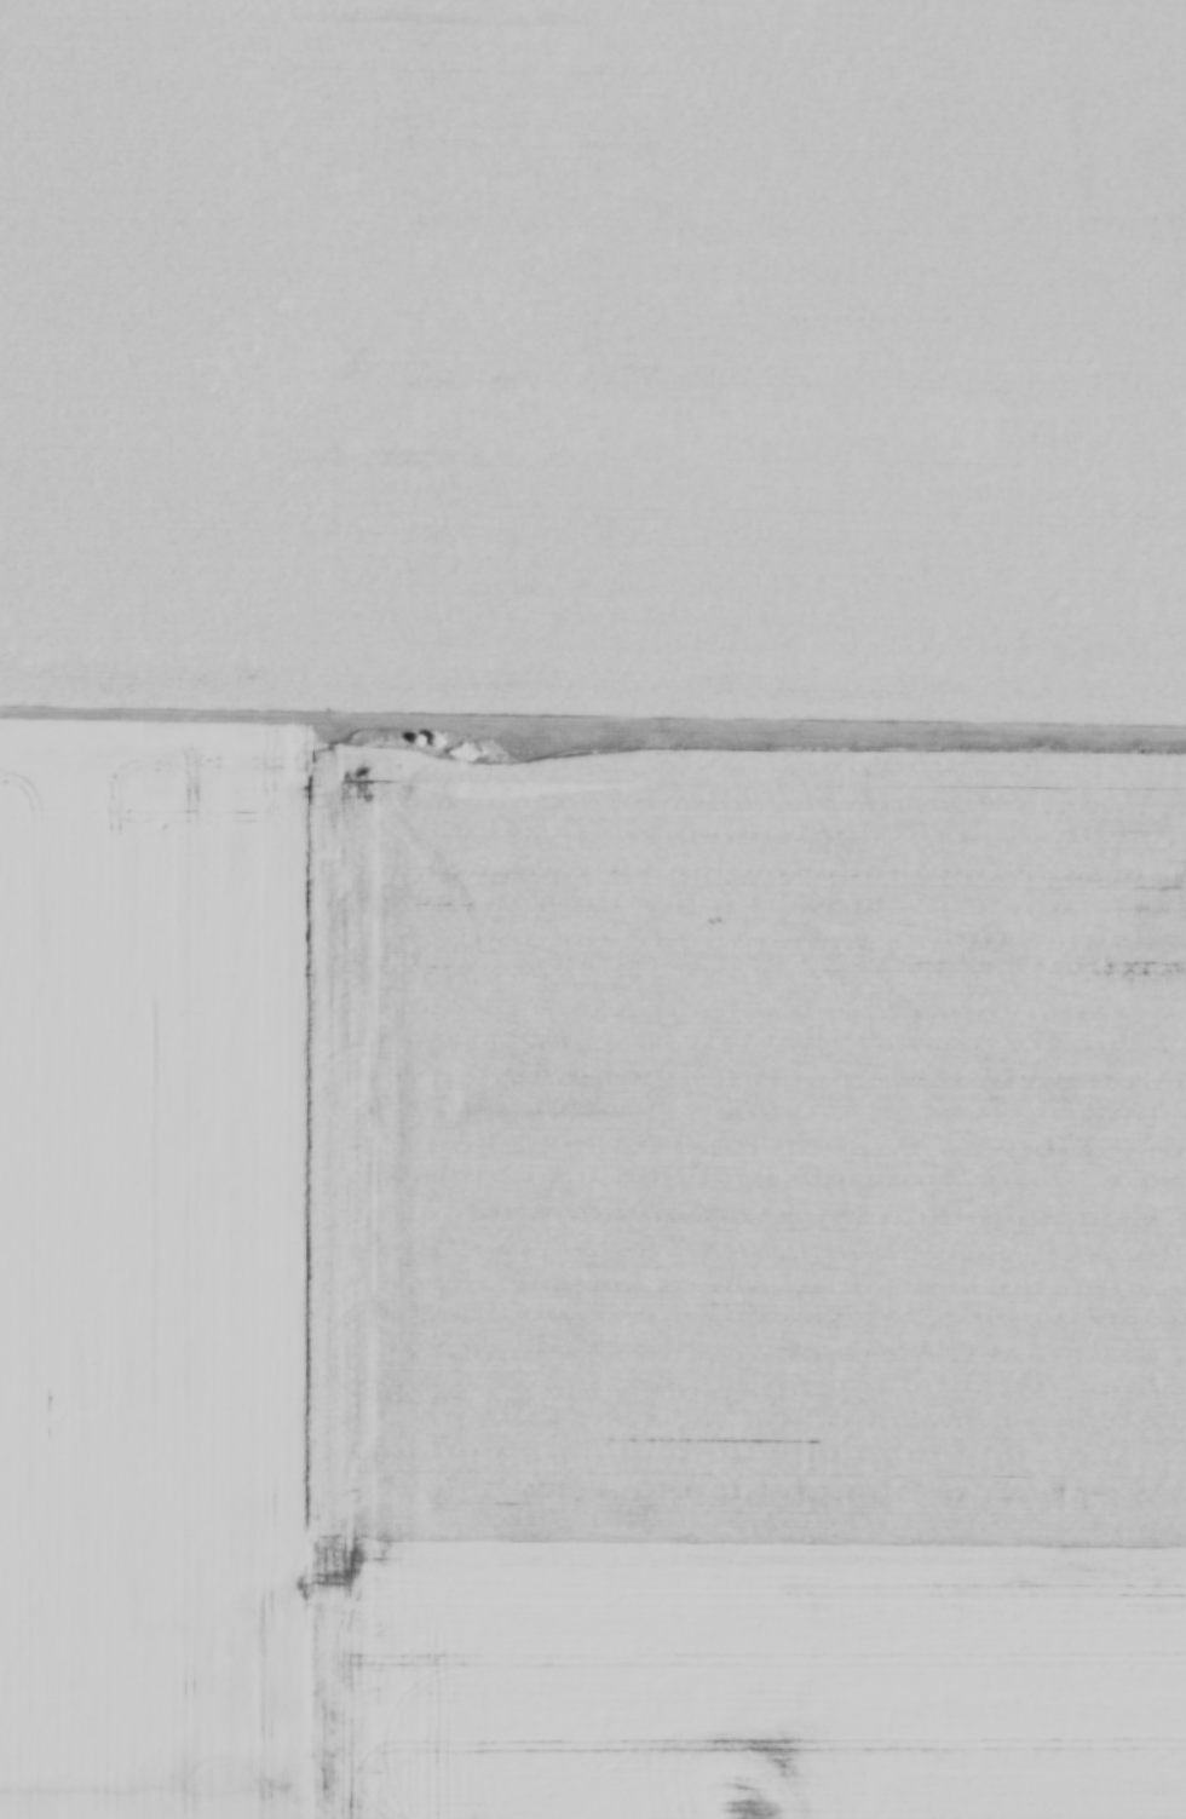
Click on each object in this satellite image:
road: (592, 720)

